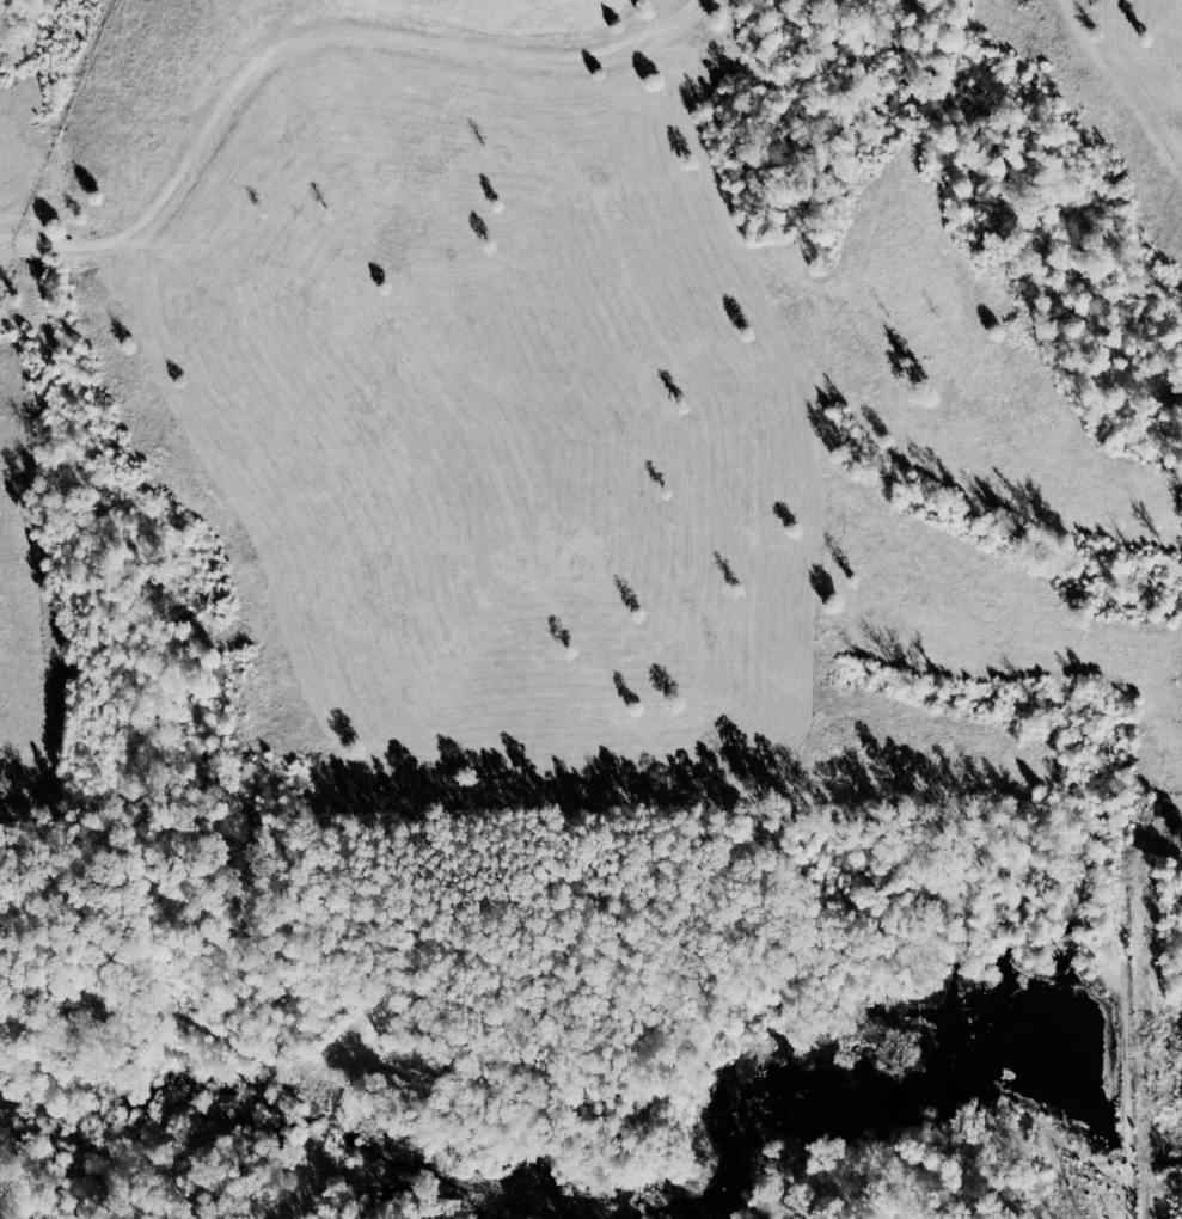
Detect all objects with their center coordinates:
road: (182, 174)

